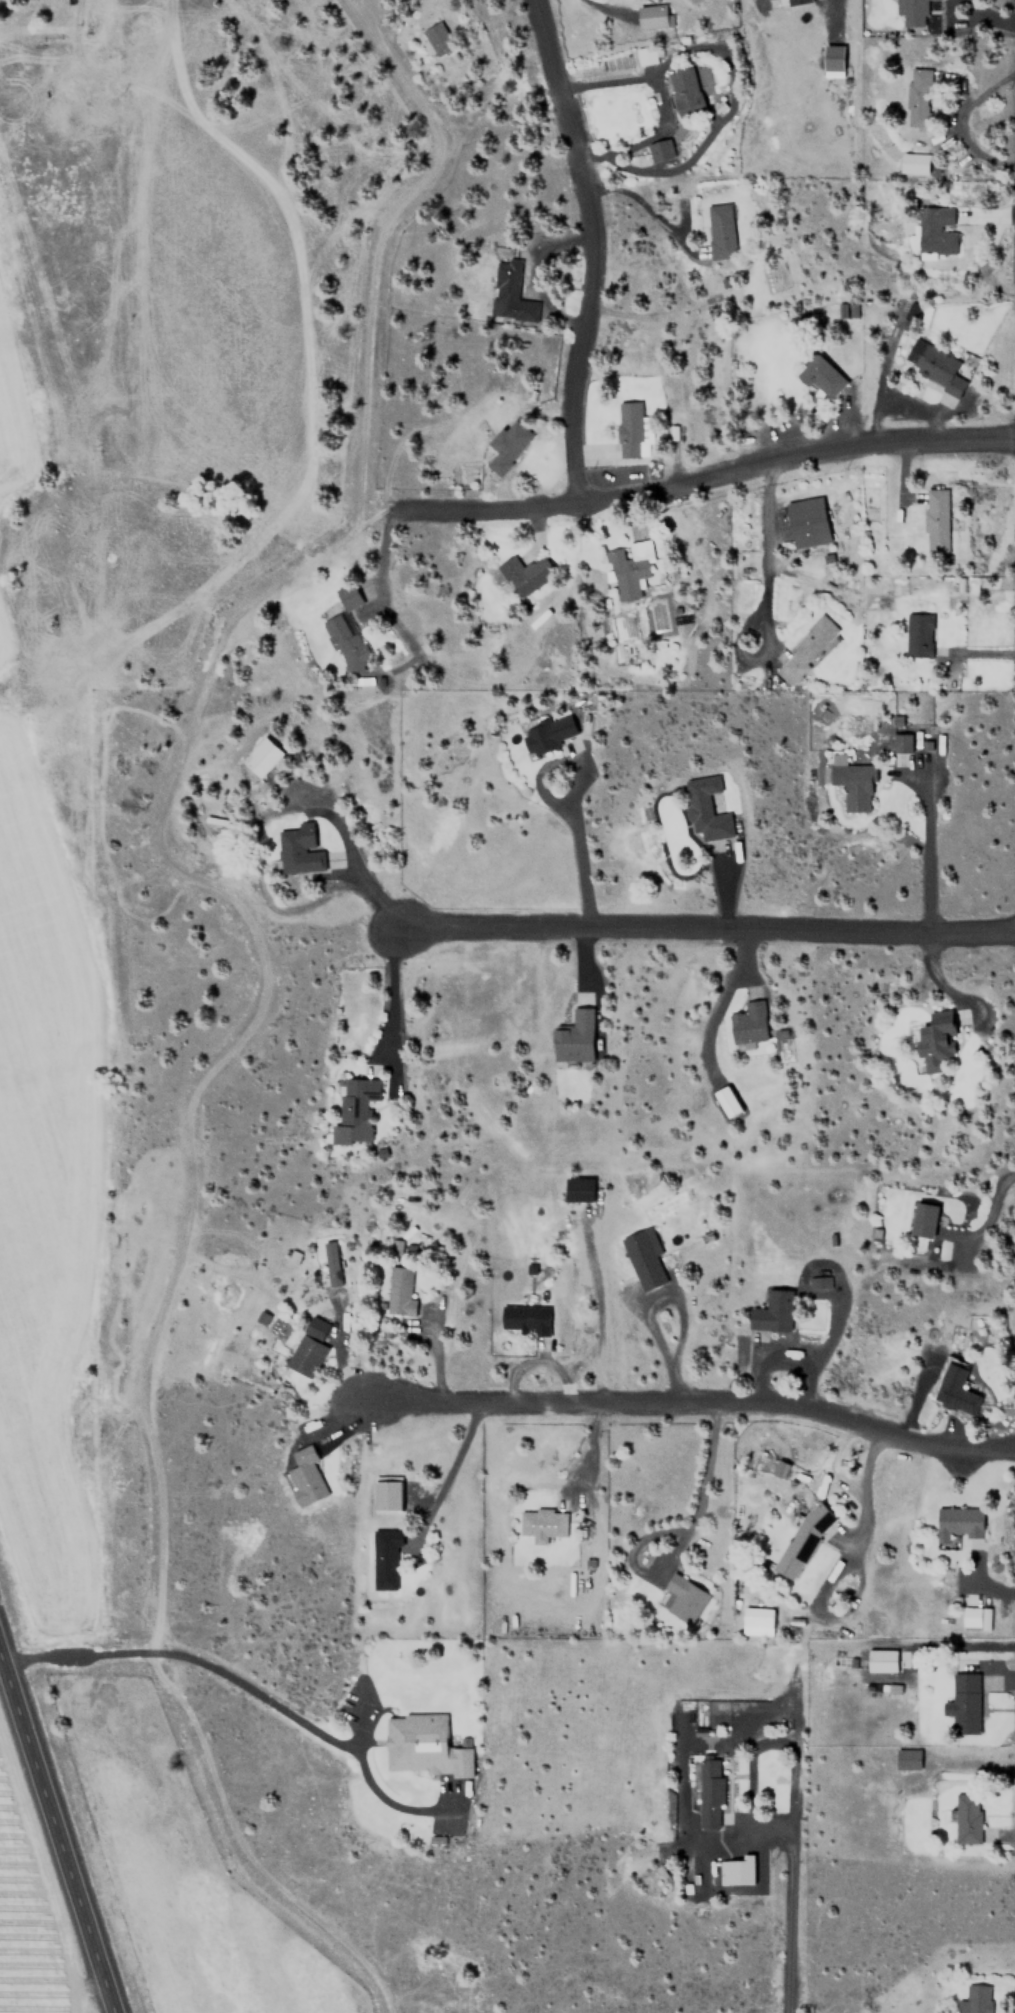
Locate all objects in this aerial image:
building: (796, 1)
building: (910, 12)
building: (652, 15)
building: (437, 38)
building: (644, 54)
building: (832, 58)
building: (685, 91)
building: (918, 91)
building: (659, 150)
building: (913, 163)
building: (933, 230)
building: (720, 231)
road: (587, 245)
building: (510, 293)
building: (911, 313)
building: (937, 366)
building: (820, 376)
building: (631, 429)
building: (507, 445)
road: (707, 471)
building: (935, 520)
building: (806, 522)
building: (629, 567)
building: (524, 572)
building: (345, 628)
building: (918, 635)
building: (804, 649)
building: (549, 734)
building: (900, 742)
building: (261, 756)
building: (852, 783)
building: (705, 809)
building: (298, 849)
road: (698, 930)
building: (748, 1024)
building: (574, 1038)
building: (937, 1043)
building: (726, 1100)
building: (355, 1107)
building: (578, 1189)
building: (923, 1220)
building: (644, 1257)
building: (333, 1262)
building: (820, 1282)
building: (399, 1291)
road: (595, 1306)
building: (772, 1311)
road: (677, 1314)
building: (526, 1318)
building: (308, 1347)
road: (537, 1362)
road: (755, 1368)
building: (955, 1389)
road: (918, 1395)
road: (686, 1403)
road: (587, 1449)
building: (781, 1468)
road: (445, 1474)
building: (306, 1475)
road: (866, 1487)
building: (957, 1522)
building: (541, 1524)
building: (802, 1540)
road: (680, 1544)
building: (383, 1560)
building: (681, 1598)
building: (974, 1617)
building: (757, 1621)
building: (881, 1659)
road: (249, 1688)
building: (963, 1703)
building: (423, 1746)
building: (907, 1758)
building: (709, 1793)
building: (966, 1817)
road: (56, 1834)
building: (735, 1870)
road: (788, 1896)
building: (974, 1999)

